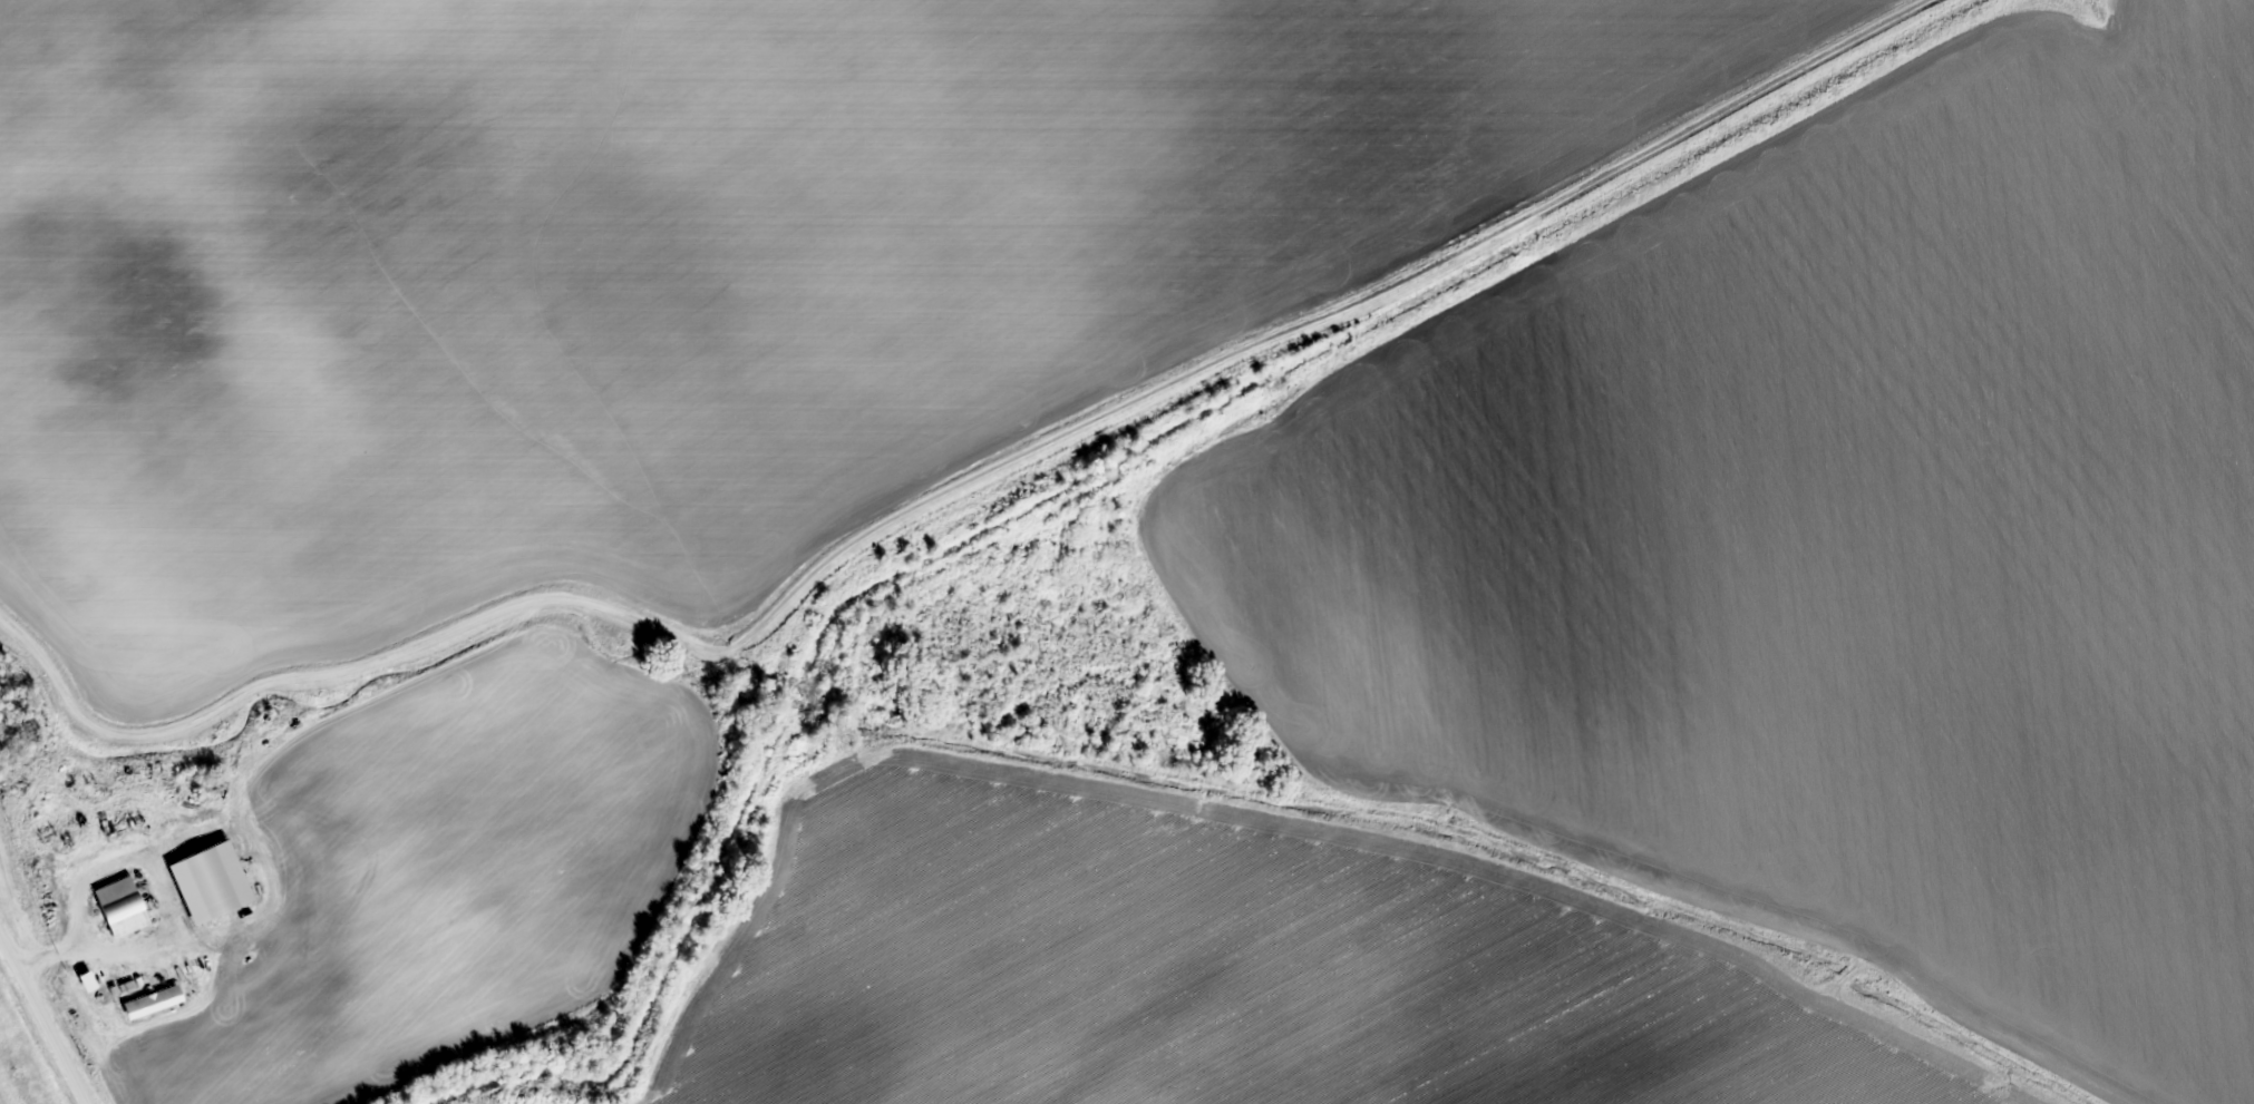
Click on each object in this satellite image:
building: (212, 882)
building: (124, 908)
road: (48, 957)
building: (153, 1003)
road: (46, 1016)
railway: (14, 1076)

